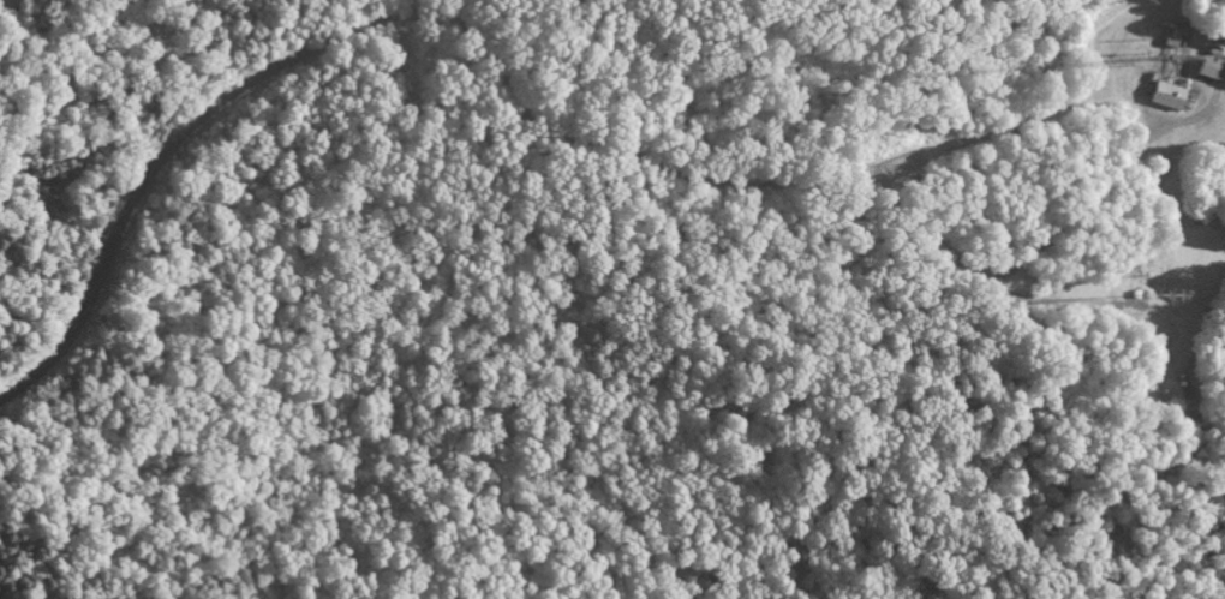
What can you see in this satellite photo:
building: (1213, 68)
building: (1171, 96)

